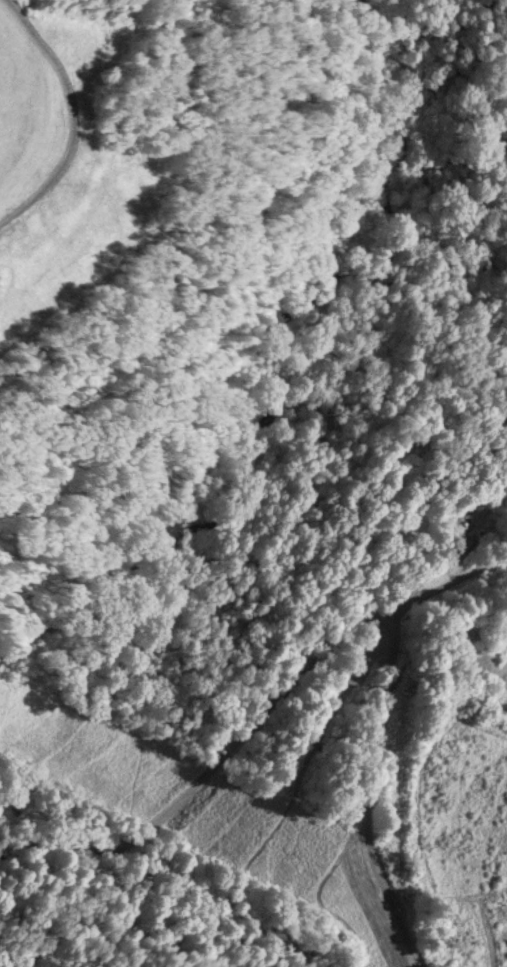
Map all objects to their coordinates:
road: (334, 638)

